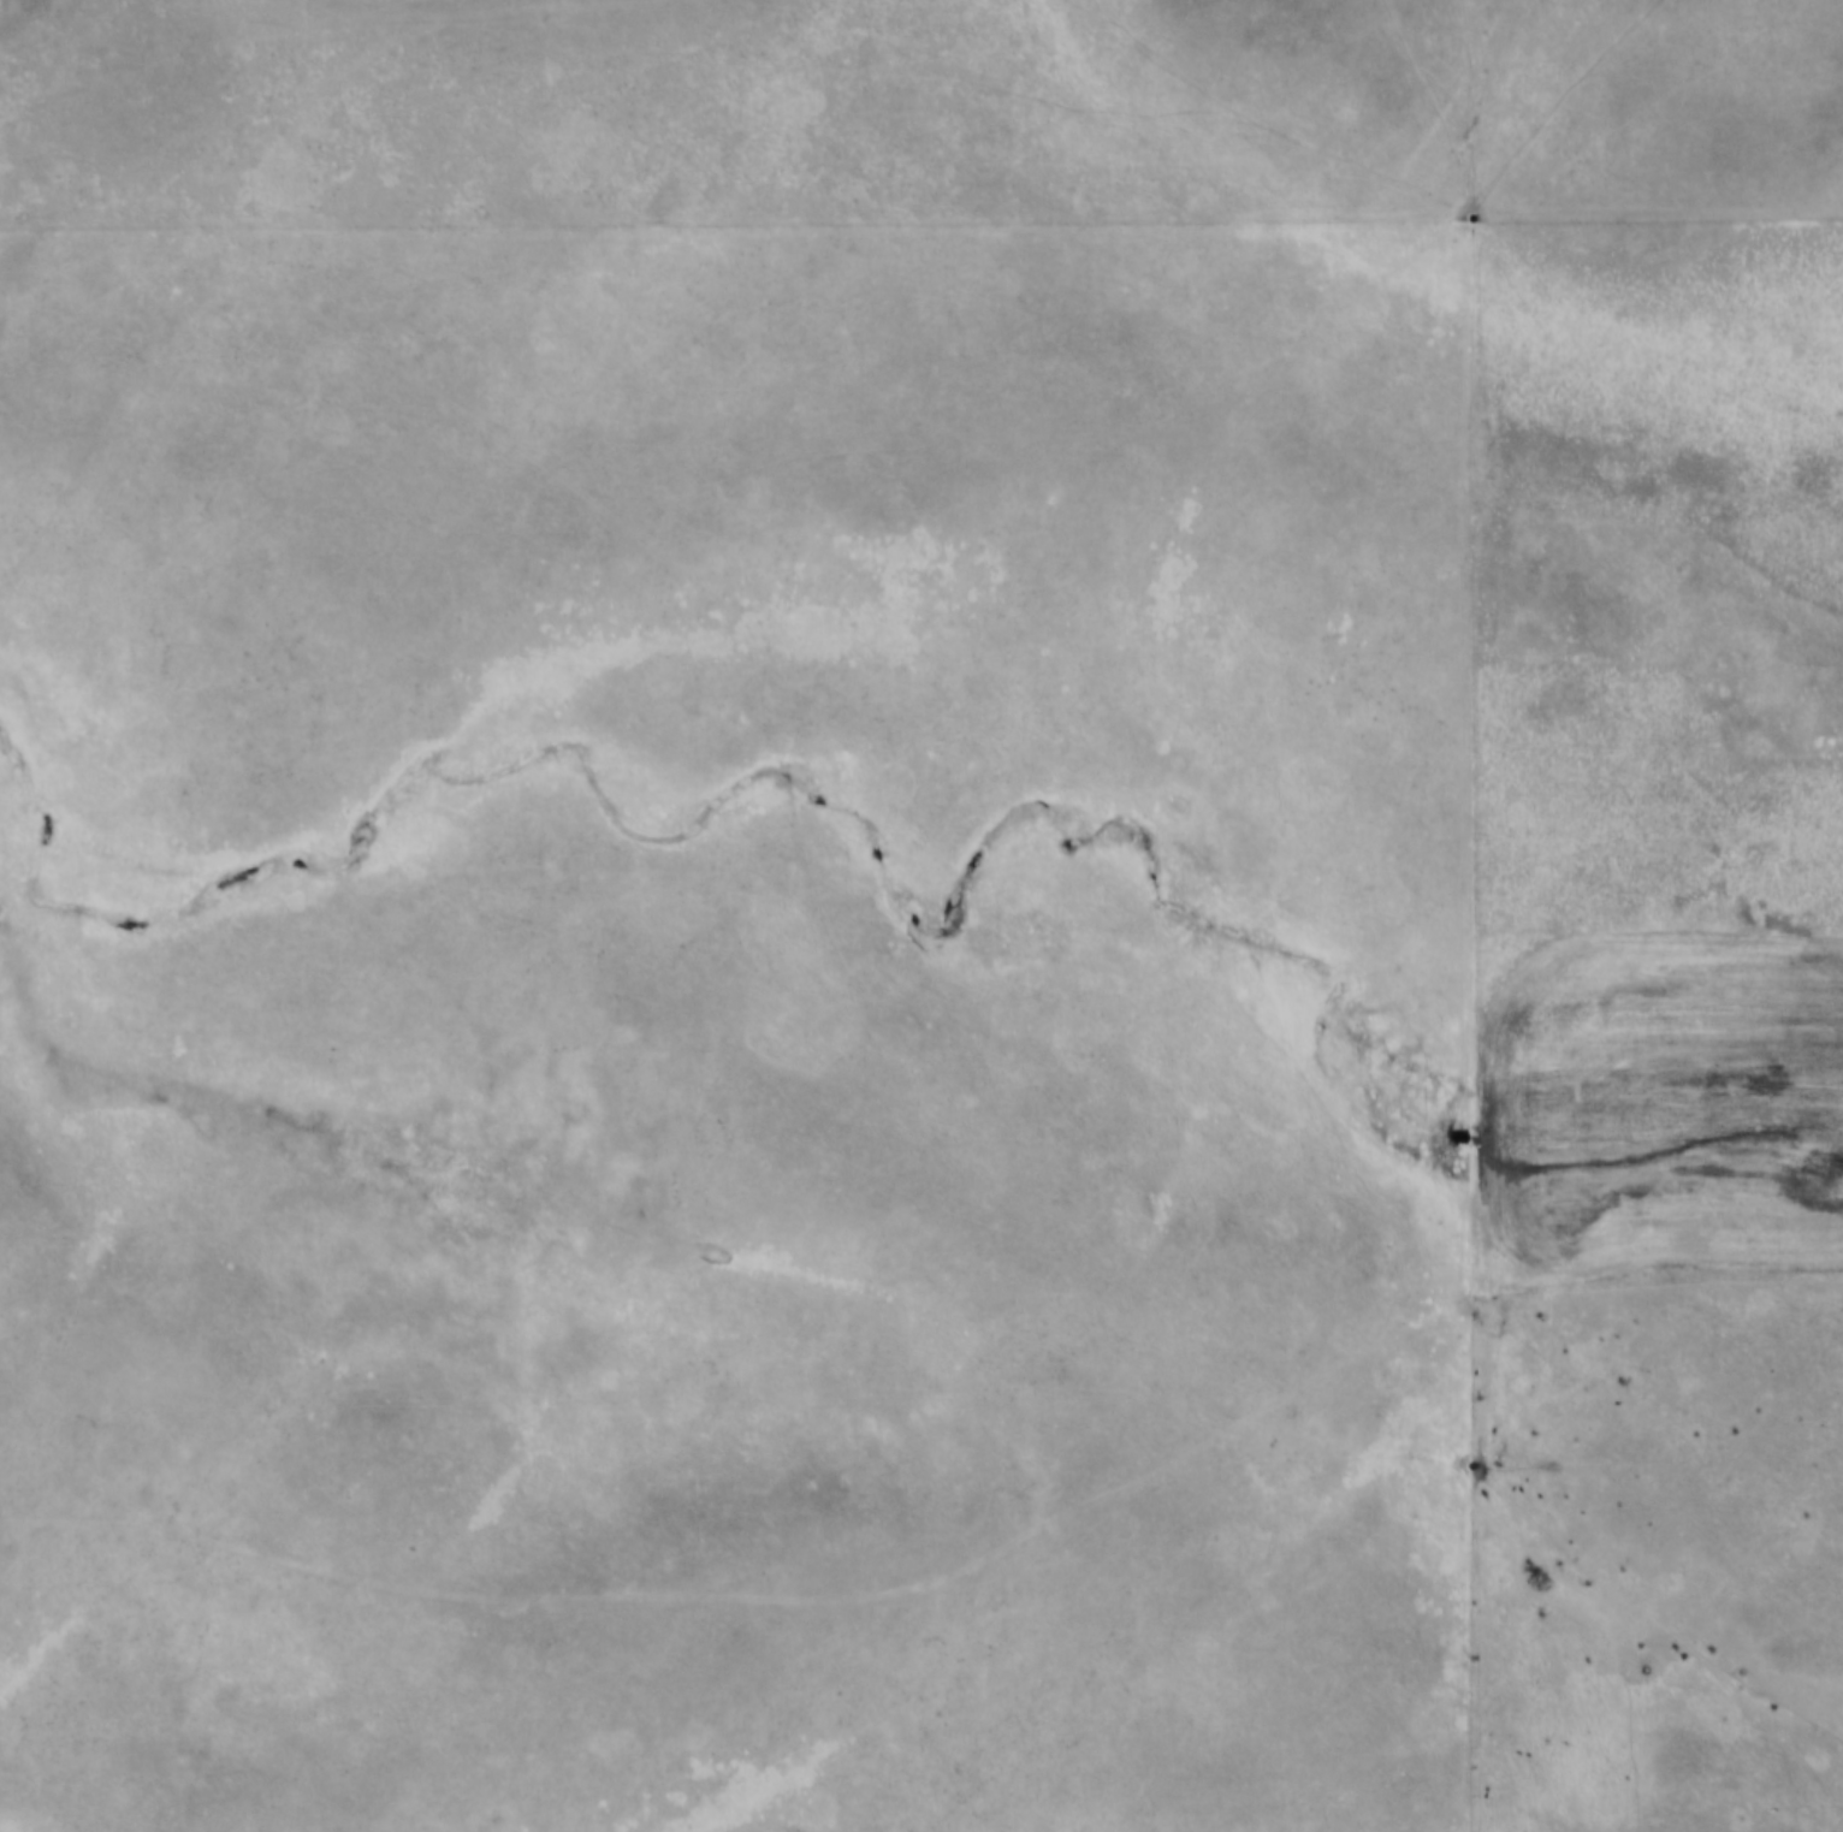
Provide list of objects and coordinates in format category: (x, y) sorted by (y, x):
road: (1842, 1735)

